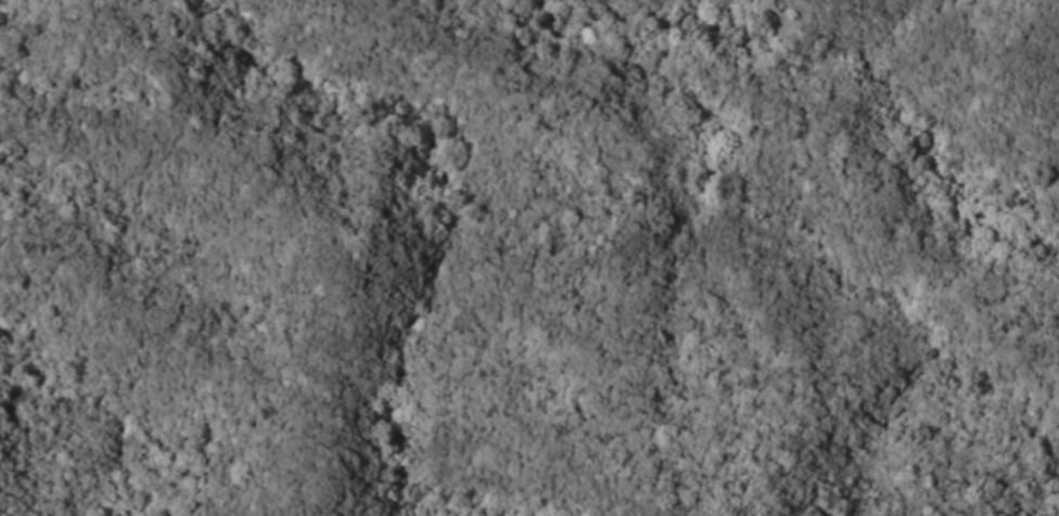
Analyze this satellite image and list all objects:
road: (4, 12)

